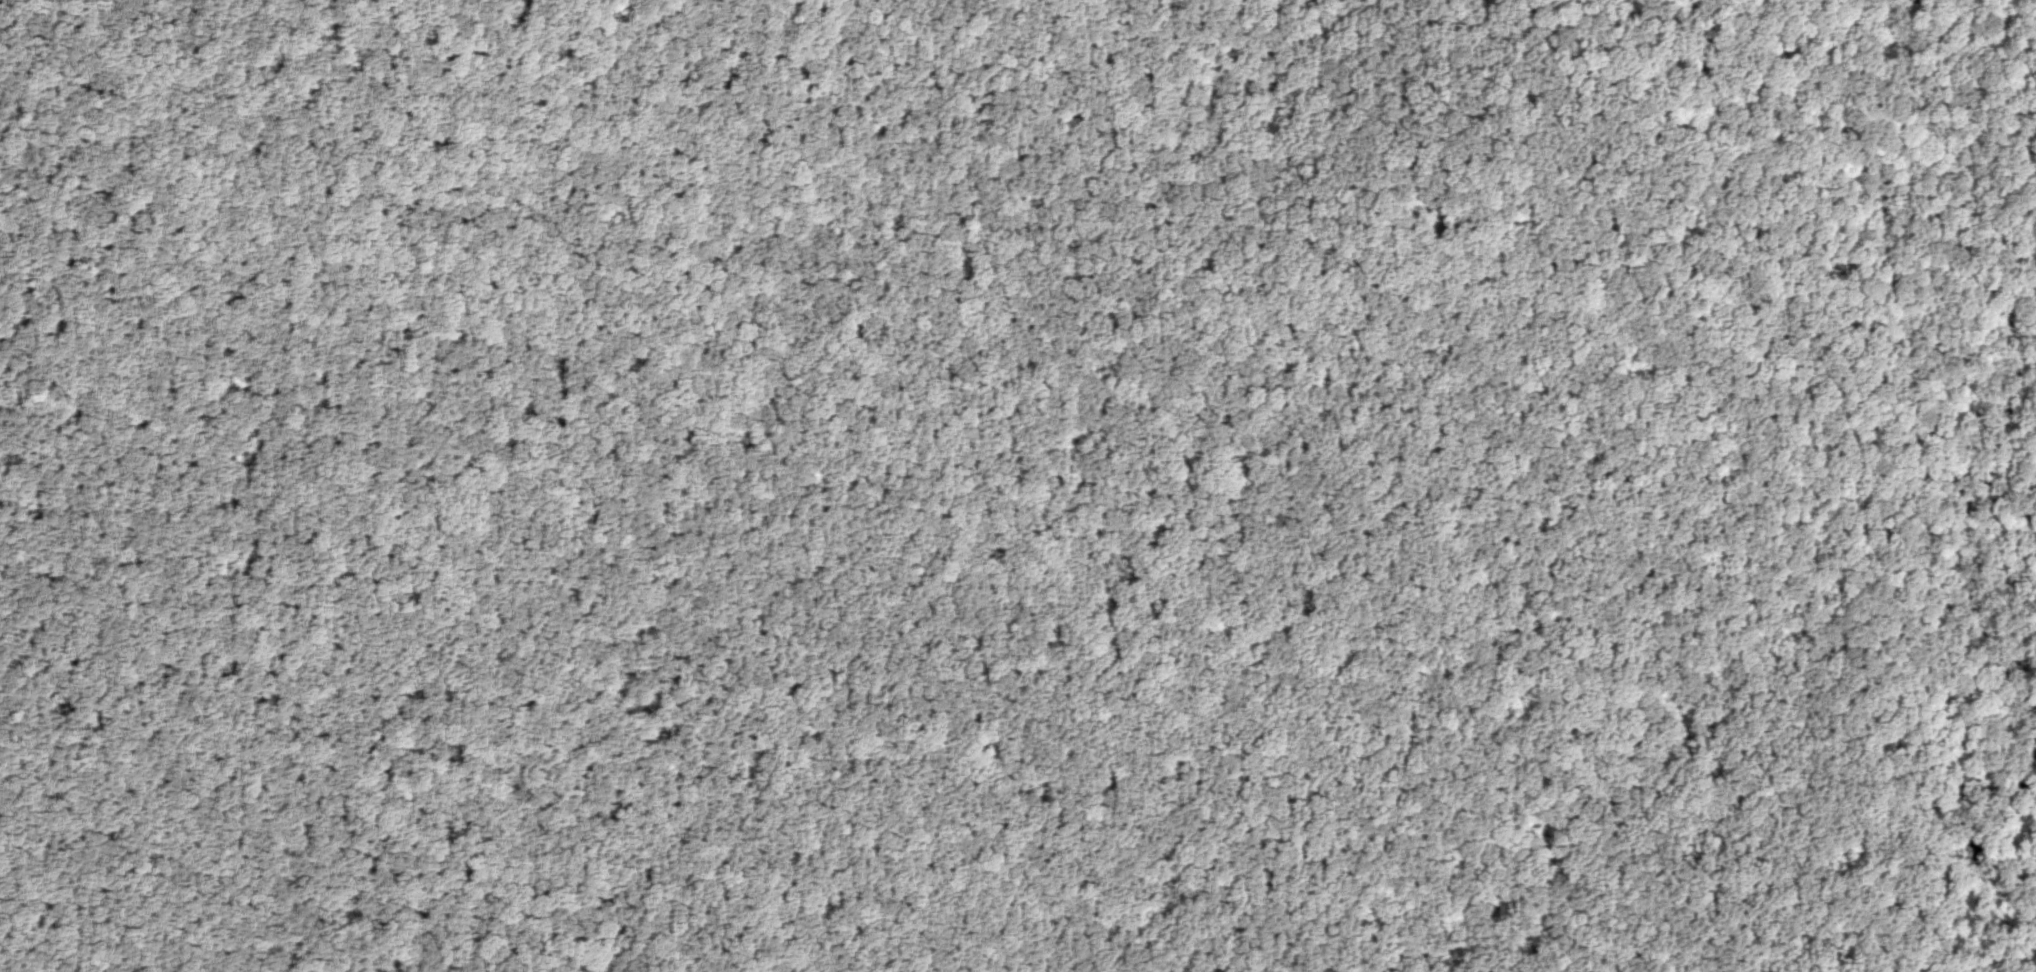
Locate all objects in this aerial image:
road: (1997, 155)
park: (1018, 486)
road: (427, 534)

